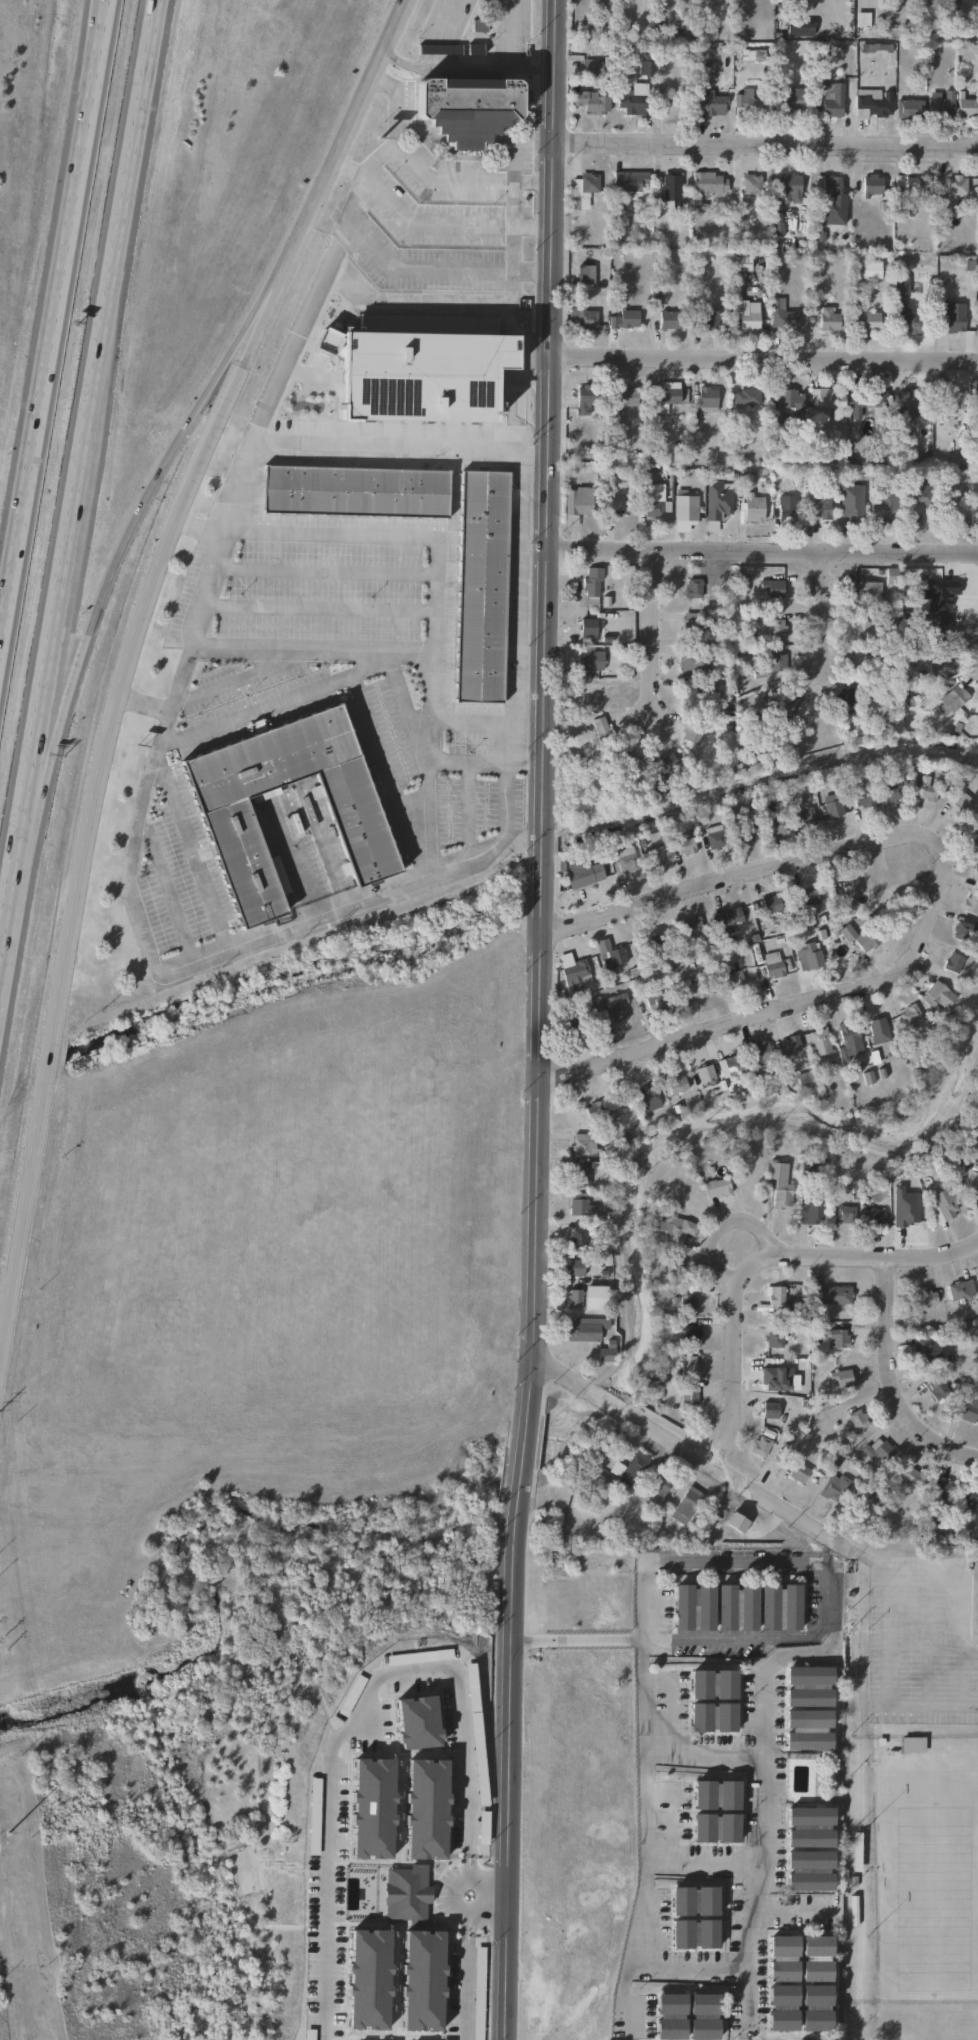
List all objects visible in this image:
building: (477, 24)
road: (101, 27)
building: (799, 27)
road: (510, 35)
building: (437, 49)
building: (591, 66)
building: (645, 68)
road: (469, 69)
building: (789, 98)
building: (748, 99)
building: (591, 101)
building: (709, 101)
building: (832, 101)
building: (631, 102)
building: (872, 103)
building: (941, 104)
building: (671, 105)
building: (467, 107)
building: (968, 107)
building: (907, 108)
road: (390, 128)
road: (767, 148)
building: (629, 180)
building: (708, 182)
road: (489, 183)
building: (751, 183)
building: (956, 183)
building: (827, 184)
building: (789, 185)
building: (871, 185)
building: (908, 185)
road: (535, 186)
building: (583, 189)
building: (668, 191)
road: (533, 230)
building: (744, 263)
road: (418, 266)
building: (871, 269)
building: (585, 273)
road: (532, 276)
building: (900, 291)
building: (583, 316)
building: (748, 316)
building: (782, 316)
building: (949, 317)
building: (624, 319)
building: (668, 319)
building: (709, 320)
building: (828, 320)
building: (864, 321)
building: (907, 323)
road: (48, 339)
road: (765, 358)
building: (413, 378)
road: (96, 389)
building: (668, 395)
building: (626, 396)
building: (745, 396)
building: (868, 397)
building: (706, 398)
building: (908, 398)
building: (828, 399)
building: (584, 400)
building: (789, 400)
building: (950, 401)
road: (549, 421)
road: (251, 433)
building: (354, 490)
building: (718, 498)
building: (918, 499)
road: (220, 501)
building: (577, 502)
building: (850, 503)
building: (684, 504)
building: (815, 504)
building: (619, 506)
building: (753, 506)
building: (883, 506)
building: (653, 507)
building: (785, 507)
building: (952, 510)
building: (977, 510)
road: (129, 539)
road: (761, 552)
road: (317, 572)
building: (891, 574)
road: (433, 575)
building: (693, 584)
building: (771, 585)
building: (481, 586)
building: (591, 587)
building: (866, 589)
road: (313, 608)
road: (511, 610)
road: (822, 612)
building: (692, 623)
building: (943, 625)
building: (776, 627)
building: (861, 628)
building: (587, 629)
road: (649, 633)
road: (309, 651)
road: (133, 653)
building: (616, 659)
building: (862, 659)
building: (590, 660)
building: (777, 661)
building: (693, 663)
building: (940, 668)
road: (238, 676)
building: (606, 695)
building: (784, 695)
building: (845, 695)
building: (688, 696)
road: (281, 700)
building: (951, 700)
road: (144, 702)
building: (977, 708)
road: (406, 711)
building: (691, 733)
road: (386, 774)
road: (767, 776)
building: (892, 790)
building: (926, 792)
building: (862, 799)
building: (959, 802)
building: (831, 805)
road: (465, 810)
building: (804, 815)
road: (425, 817)
building: (775, 825)
building: (745, 830)
building: (230, 831)
building: (713, 837)
building: (685, 844)
road: (191, 847)
building: (657, 854)
building: (624, 859)
road: (540, 862)
building: (974, 873)
building: (584, 874)
road: (17, 880)
road: (729, 882)
building: (850, 886)
road: (166, 889)
building: (811, 896)
building: (969, 902)
building: (771, 903)
building: (727, 920)
building: (693, 930)
building: (965, 930)
building: (858, 939)
building: (652, 944)
building: (609, 955)
building: (806, 955)
building: (954, 962)
building: (772, 964)
road: (166, 969)
building: (573, 971)
building: (730, 980)
building: (693, 990)
building: (936, 995)
building: (655, 1001)
road: (794, 1007)
building: (610, 1008)
building: (908, 1014)
building: (572, 1026)
building: (877, 1029)
building: (816, 1041)
building: (848, 1041)
building: (789, 1044)
building: (761, 1052)
building: (732, 1065)
building: (704, 1073)
building: (676, 1084)
building: (647, 1097)
building: (592, 1113)
road: (833, 1135)
building: (583, 1145)
building: (972, 1146)
building: (580, 1176)
building: (970, 1180)
building: (717, 1186)
building: (779, 1186)
building: (579, 1204)
building: (943, 1205)
building: (811, 1210)
building: (839, 1214)
building: (875, 1216)
road: (718, 1227)
building: (675, 1228)
building: (578, 1235)
road: (762, 1259)
building: (575, 1267)
building: (673, 1267)
building: (976, 1276)
building: (959, 1288)
building: (830, 1294)
building: (594, 1296)
building: (774, 1296)
building: (926, 1296)
building: (573, 1298)
building: (687, 1301)
building: (584, 1328)
building: (689, 1332)
building: (773, 1339)
building: (837, 1339)
building: (923, 1348)
building: (606, 1351)
building: (688, 1364)
building: (840, 1377)
road: (891, 1382)
building: (937, 1388)
building: (688, 1395)
building: (969, 1407)
building: (769, 1409)
building: (857, 1418)
building: (761, 1442)
building: (878, 1450)
road: (698, 1453)
road: (525, 1460)
building: (629, 1468)
building: (912, 1476)
building: (658, 1485)
building: (833, 1488)
building: (942, 1493)
building: (969, 1496)
building: (871, 1497)
building: (685, 1504)
road: (657, 1564)
road: (871, 1564)
road: (964, 1582)
building: (693, 1606)
building: (737, 1606)
building: (779, 1606)
road: (889, 1639)
road: (926, 1639)
road: (576, 1640)
parking lot: (920, 1642)
road: (410, 1672)
road: (963, 1679)
building: (712, 1684)
building: (808, 1686)
road: (933, 1704)
building: (712, 1717)
road: (761, 1736)
building: (911, 1744)
road: (702, 1756)
power tower: (0, 1781)
building: (715, 1794)
park: (917, 1806)
building: (808, 1826)
building: (715, 1827)
road: (744, 1867)
building: (808, 1870)
park: (927, 1880)
road: (486, 1894)
building: (693, 1900)
road: (786, 1917)
building: (694, 1933)
building: (783, 1958)
building: (815, 1958)
road: (676, 1967)
road: (857, 1986)
building: (782, 2007)
building: (815, 2007)

